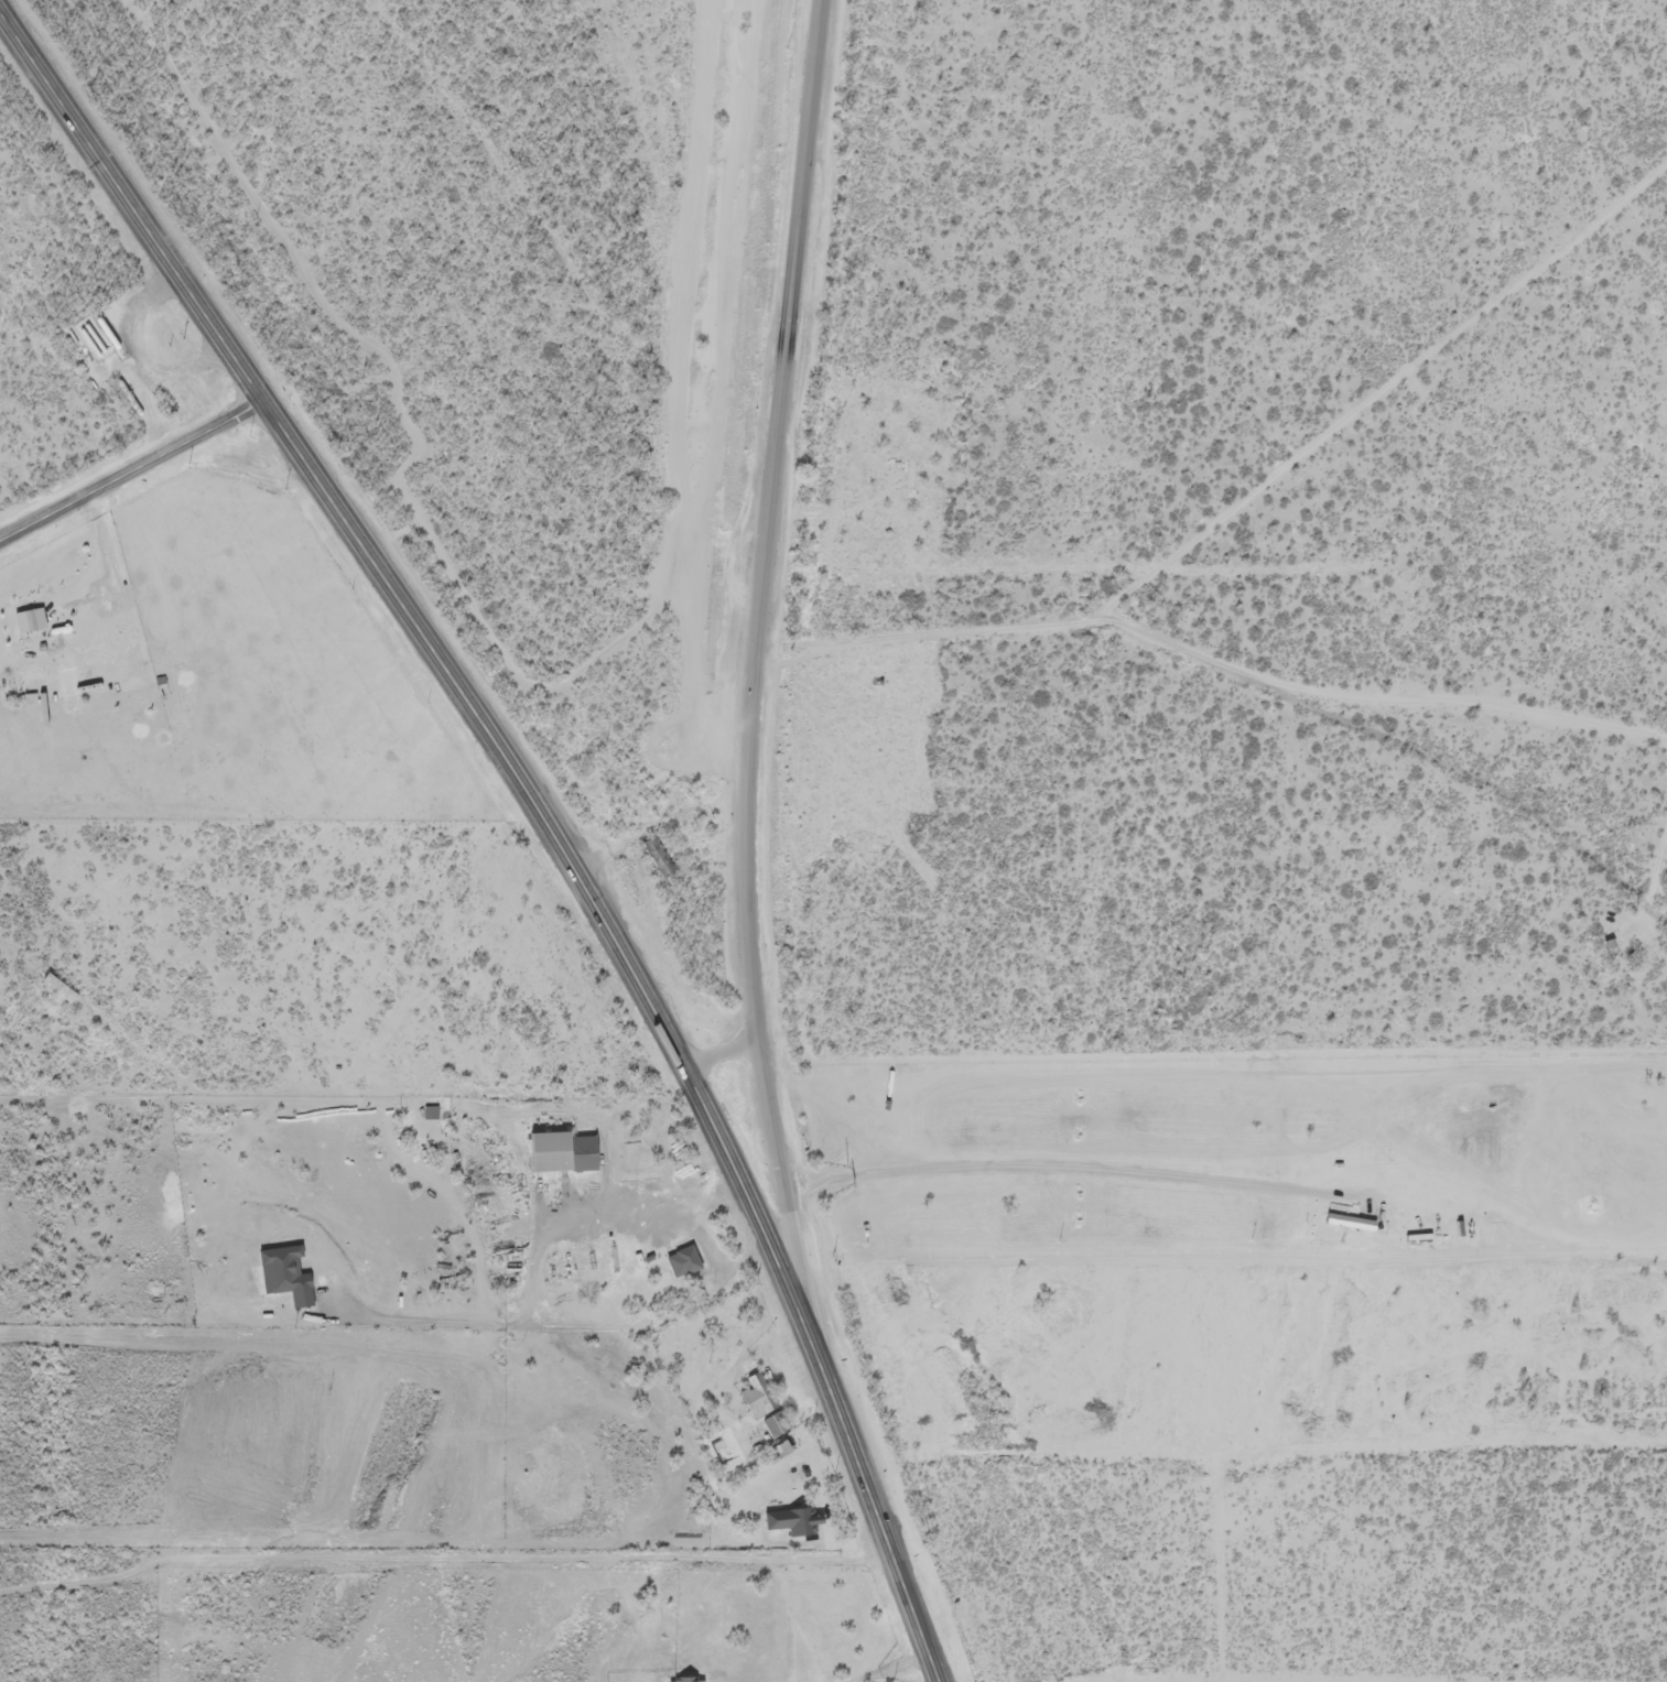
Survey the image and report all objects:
building: (91, 340)
road: (134, 469)
road: (1247, 498)
road: (756, 652)
road: (1375, 690)
road: (535, 806)
building: (1614, 963)
building: (53, 990)
road: (715, 1030)
building: (555, 1155)
building: (681, 1262)
road: (461, 1289)
building: (750, 1399)
building: (769, 1426)
road: (430, 1477)
building: (797, 1524)
building: (680, 1681)

